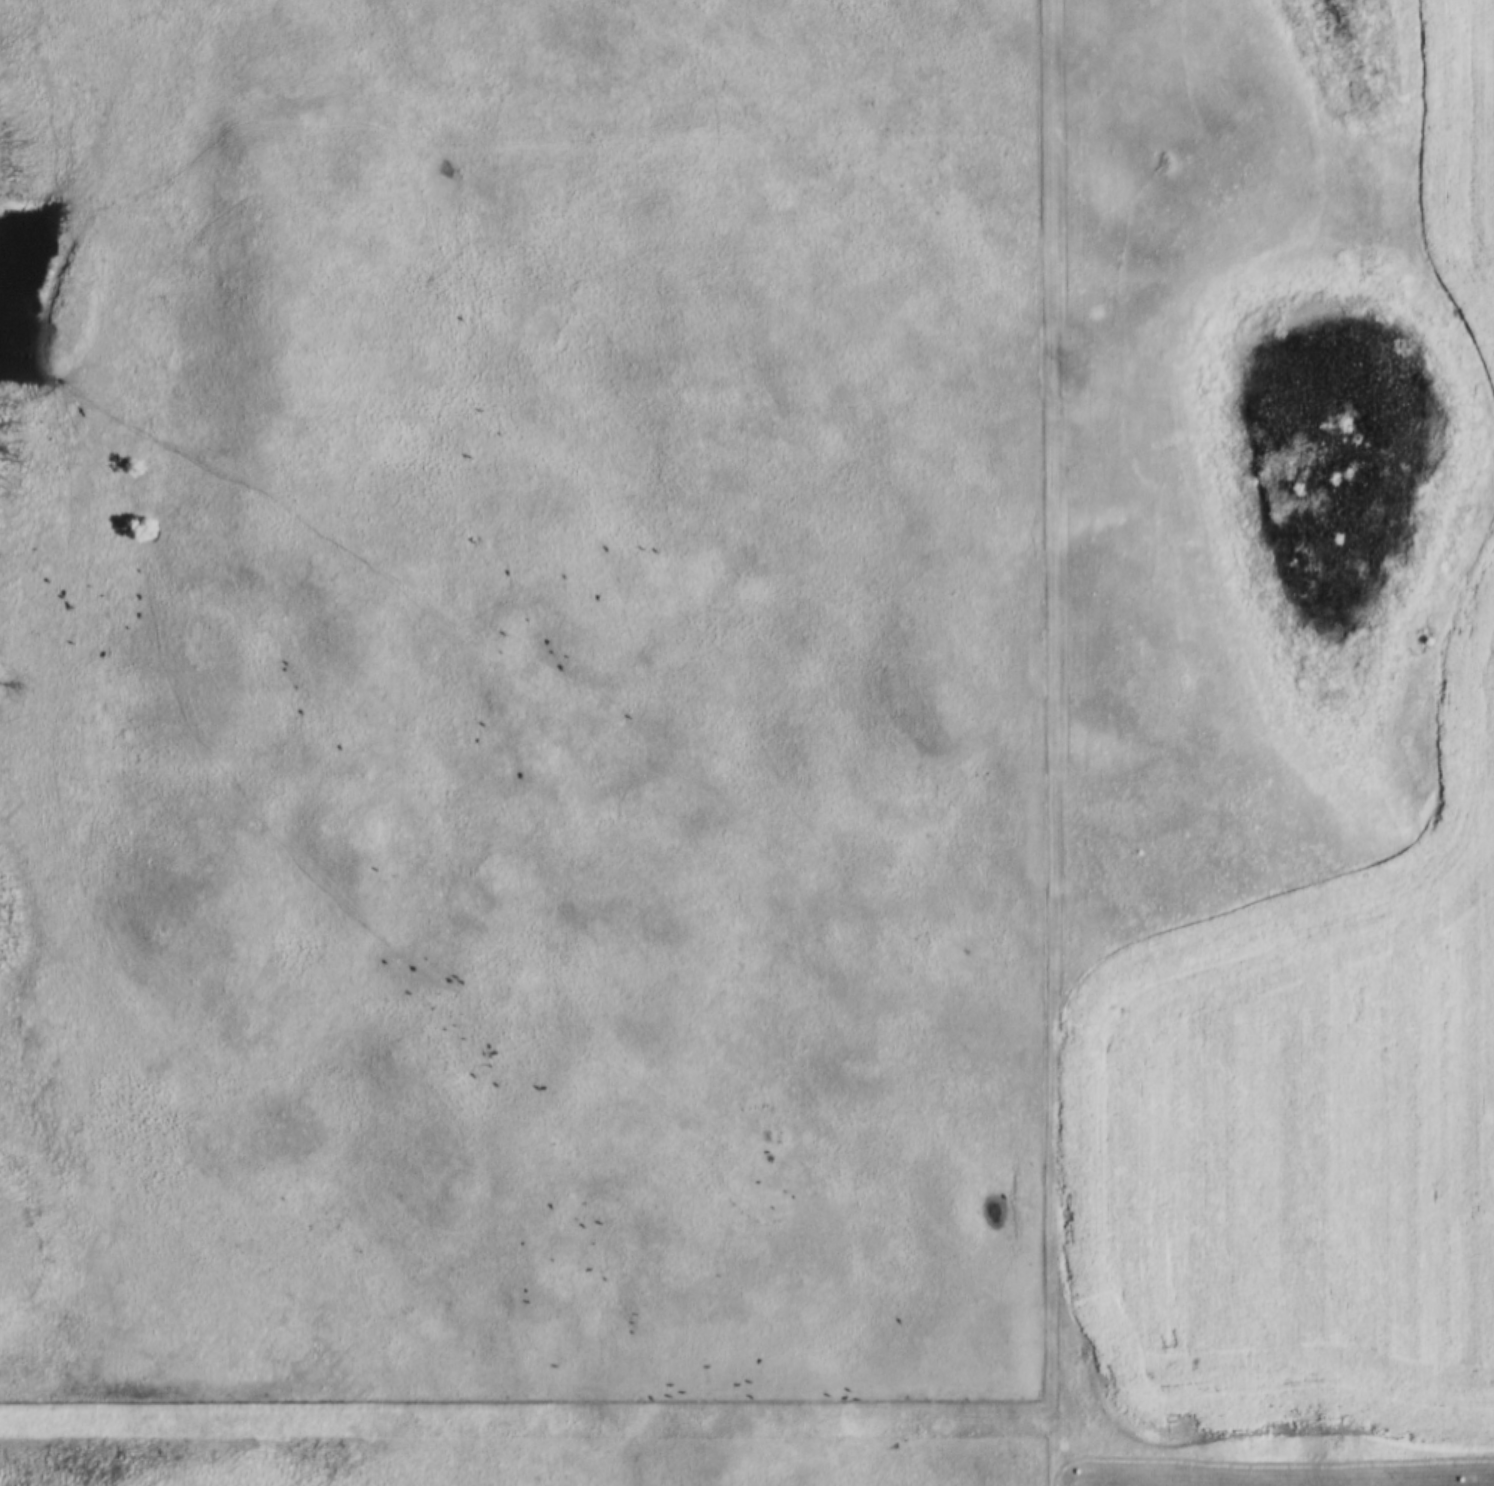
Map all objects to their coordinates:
road: (1049, 743)

